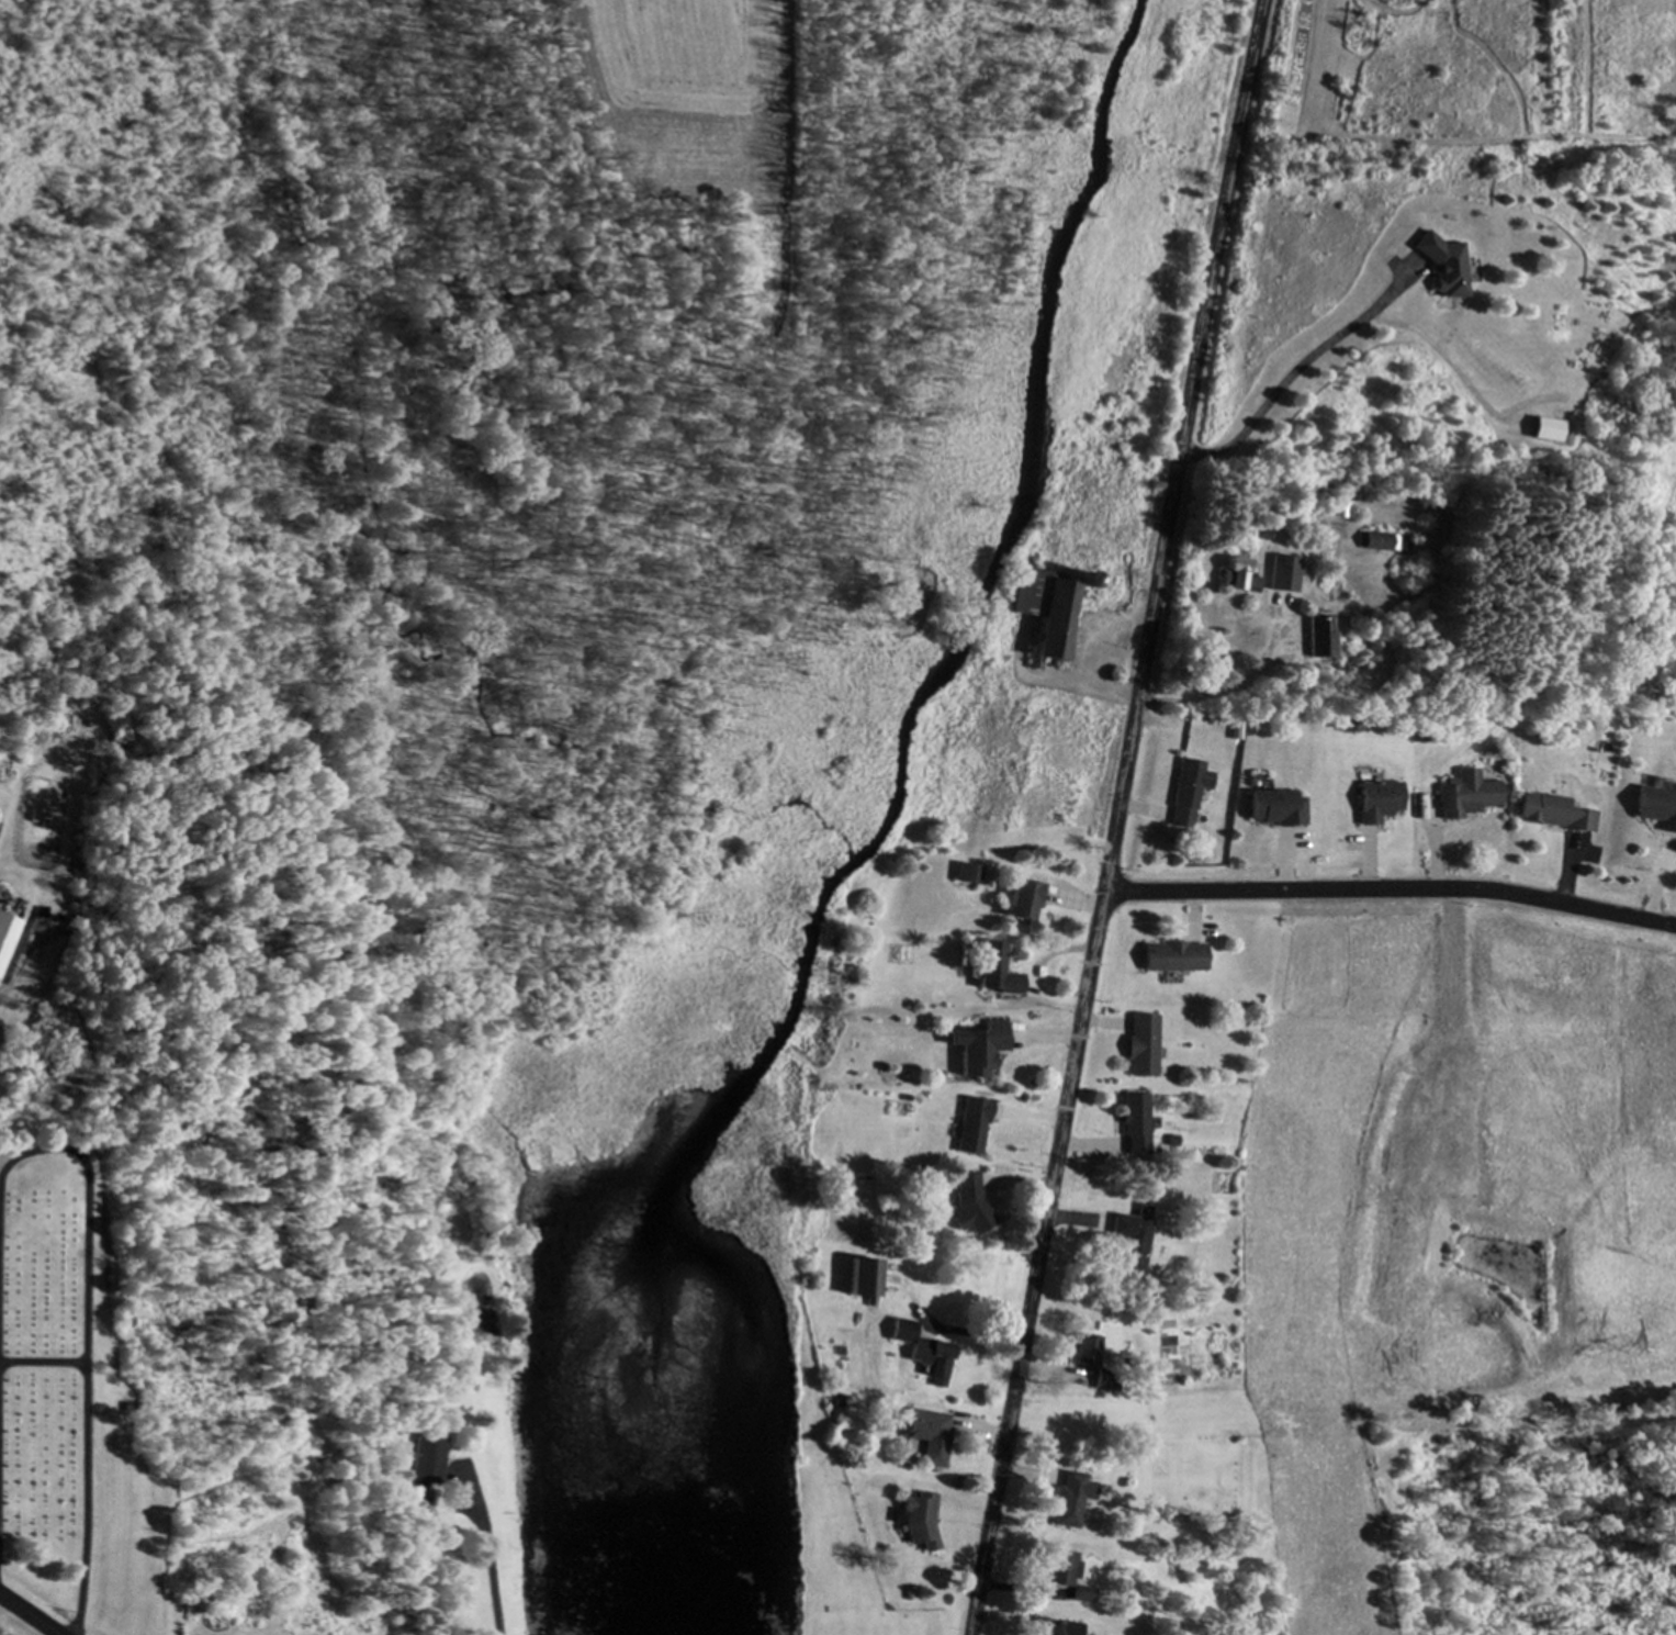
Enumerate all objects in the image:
building: (1444, 266)
road: (1200, 339)
building: (1546, 430)
building: (1387, 544)
building: (1285, 575)
building: (1239, 578)
building: (1047, 611)
building: (1320, 638)
building: (1190, 793)
building: (1467, 796)
building: (1380, 802)
building: (1278, 808)
building: (1656, 808)
building: (1555, 814)
road: (1392, 891)
building: (1025, 903)
building: (1176, 958)
building: (998, 972)
building: (1144, 1048)
building: (982, 1050)
building: (1135, 1127)
building: (972, 1128)
road: (1057, 1156)
building: (969, 1203)
building: (1134, 1240)
building: (865, 1279)
building: (924, 1352)
building: (1089, 1352)
road: (451, 1369)
building: (931, 1436)
building: (429, 1464)
building: (1071, 1500)
building: (921, 1520)
building: (1067, 1574)
road: (31, 1613)
building: (1060, 1627)
park: (877, 1630)

